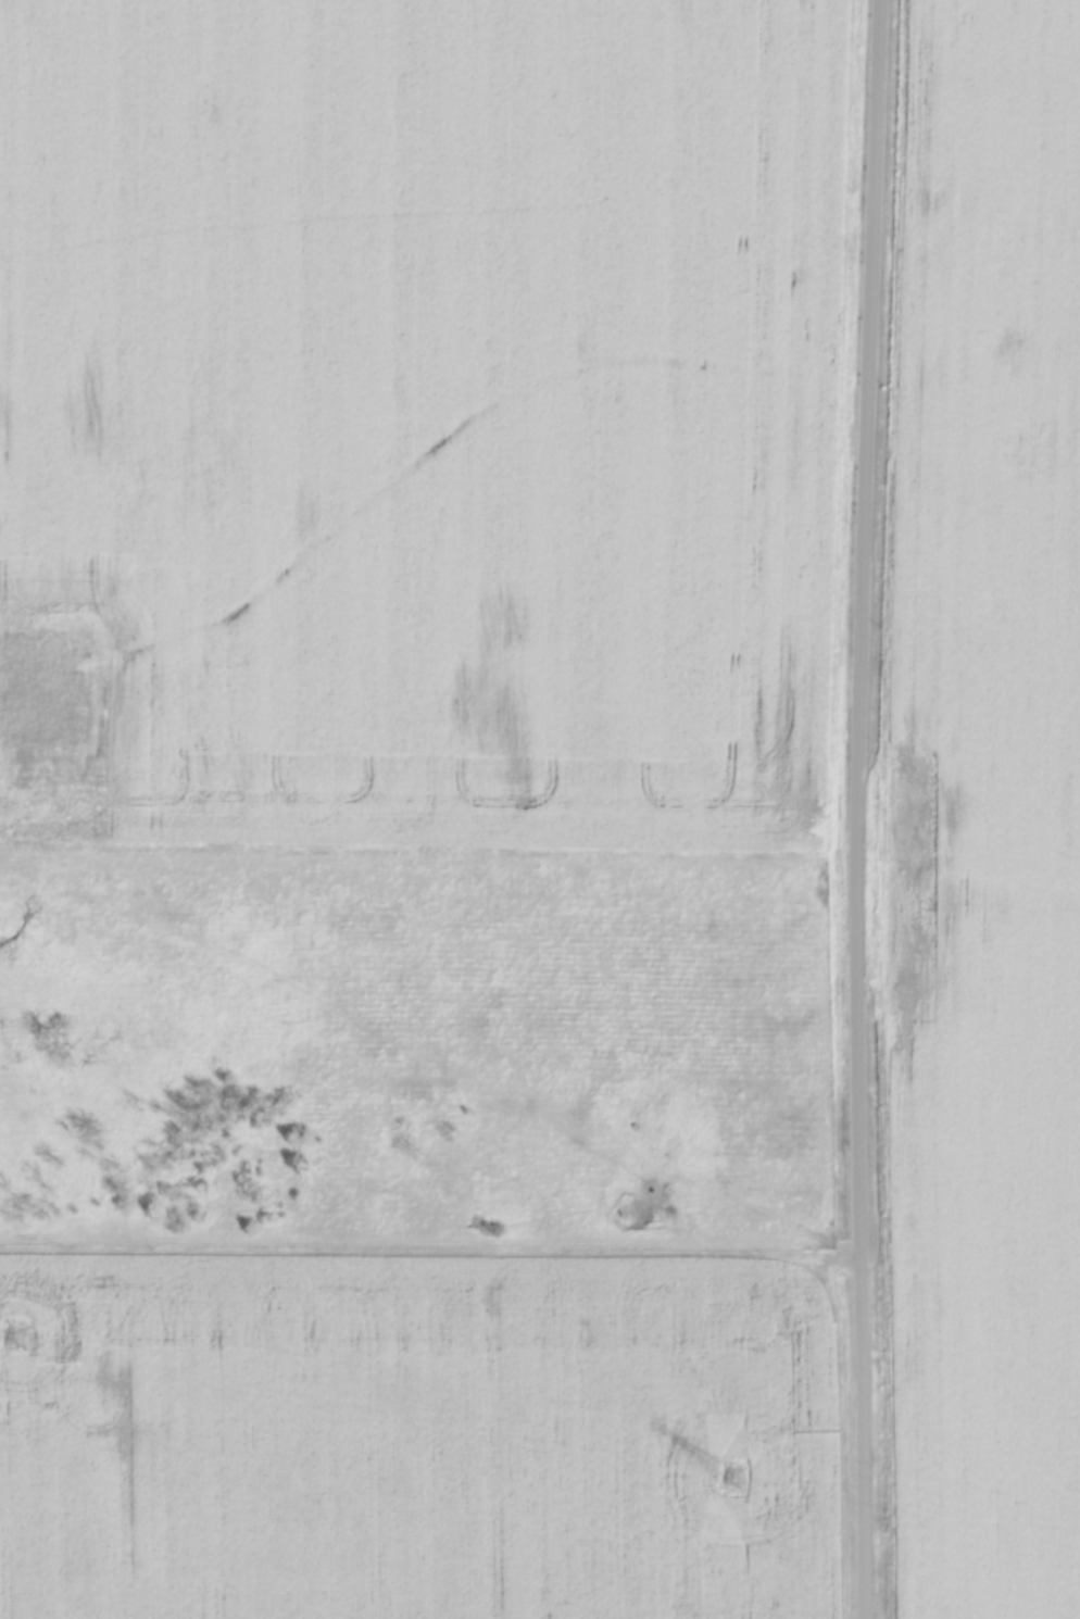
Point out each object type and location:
road: (855, 808)
road: (437, 1078)
power tower: (7, 1325)
power tower: (726, 1459)

